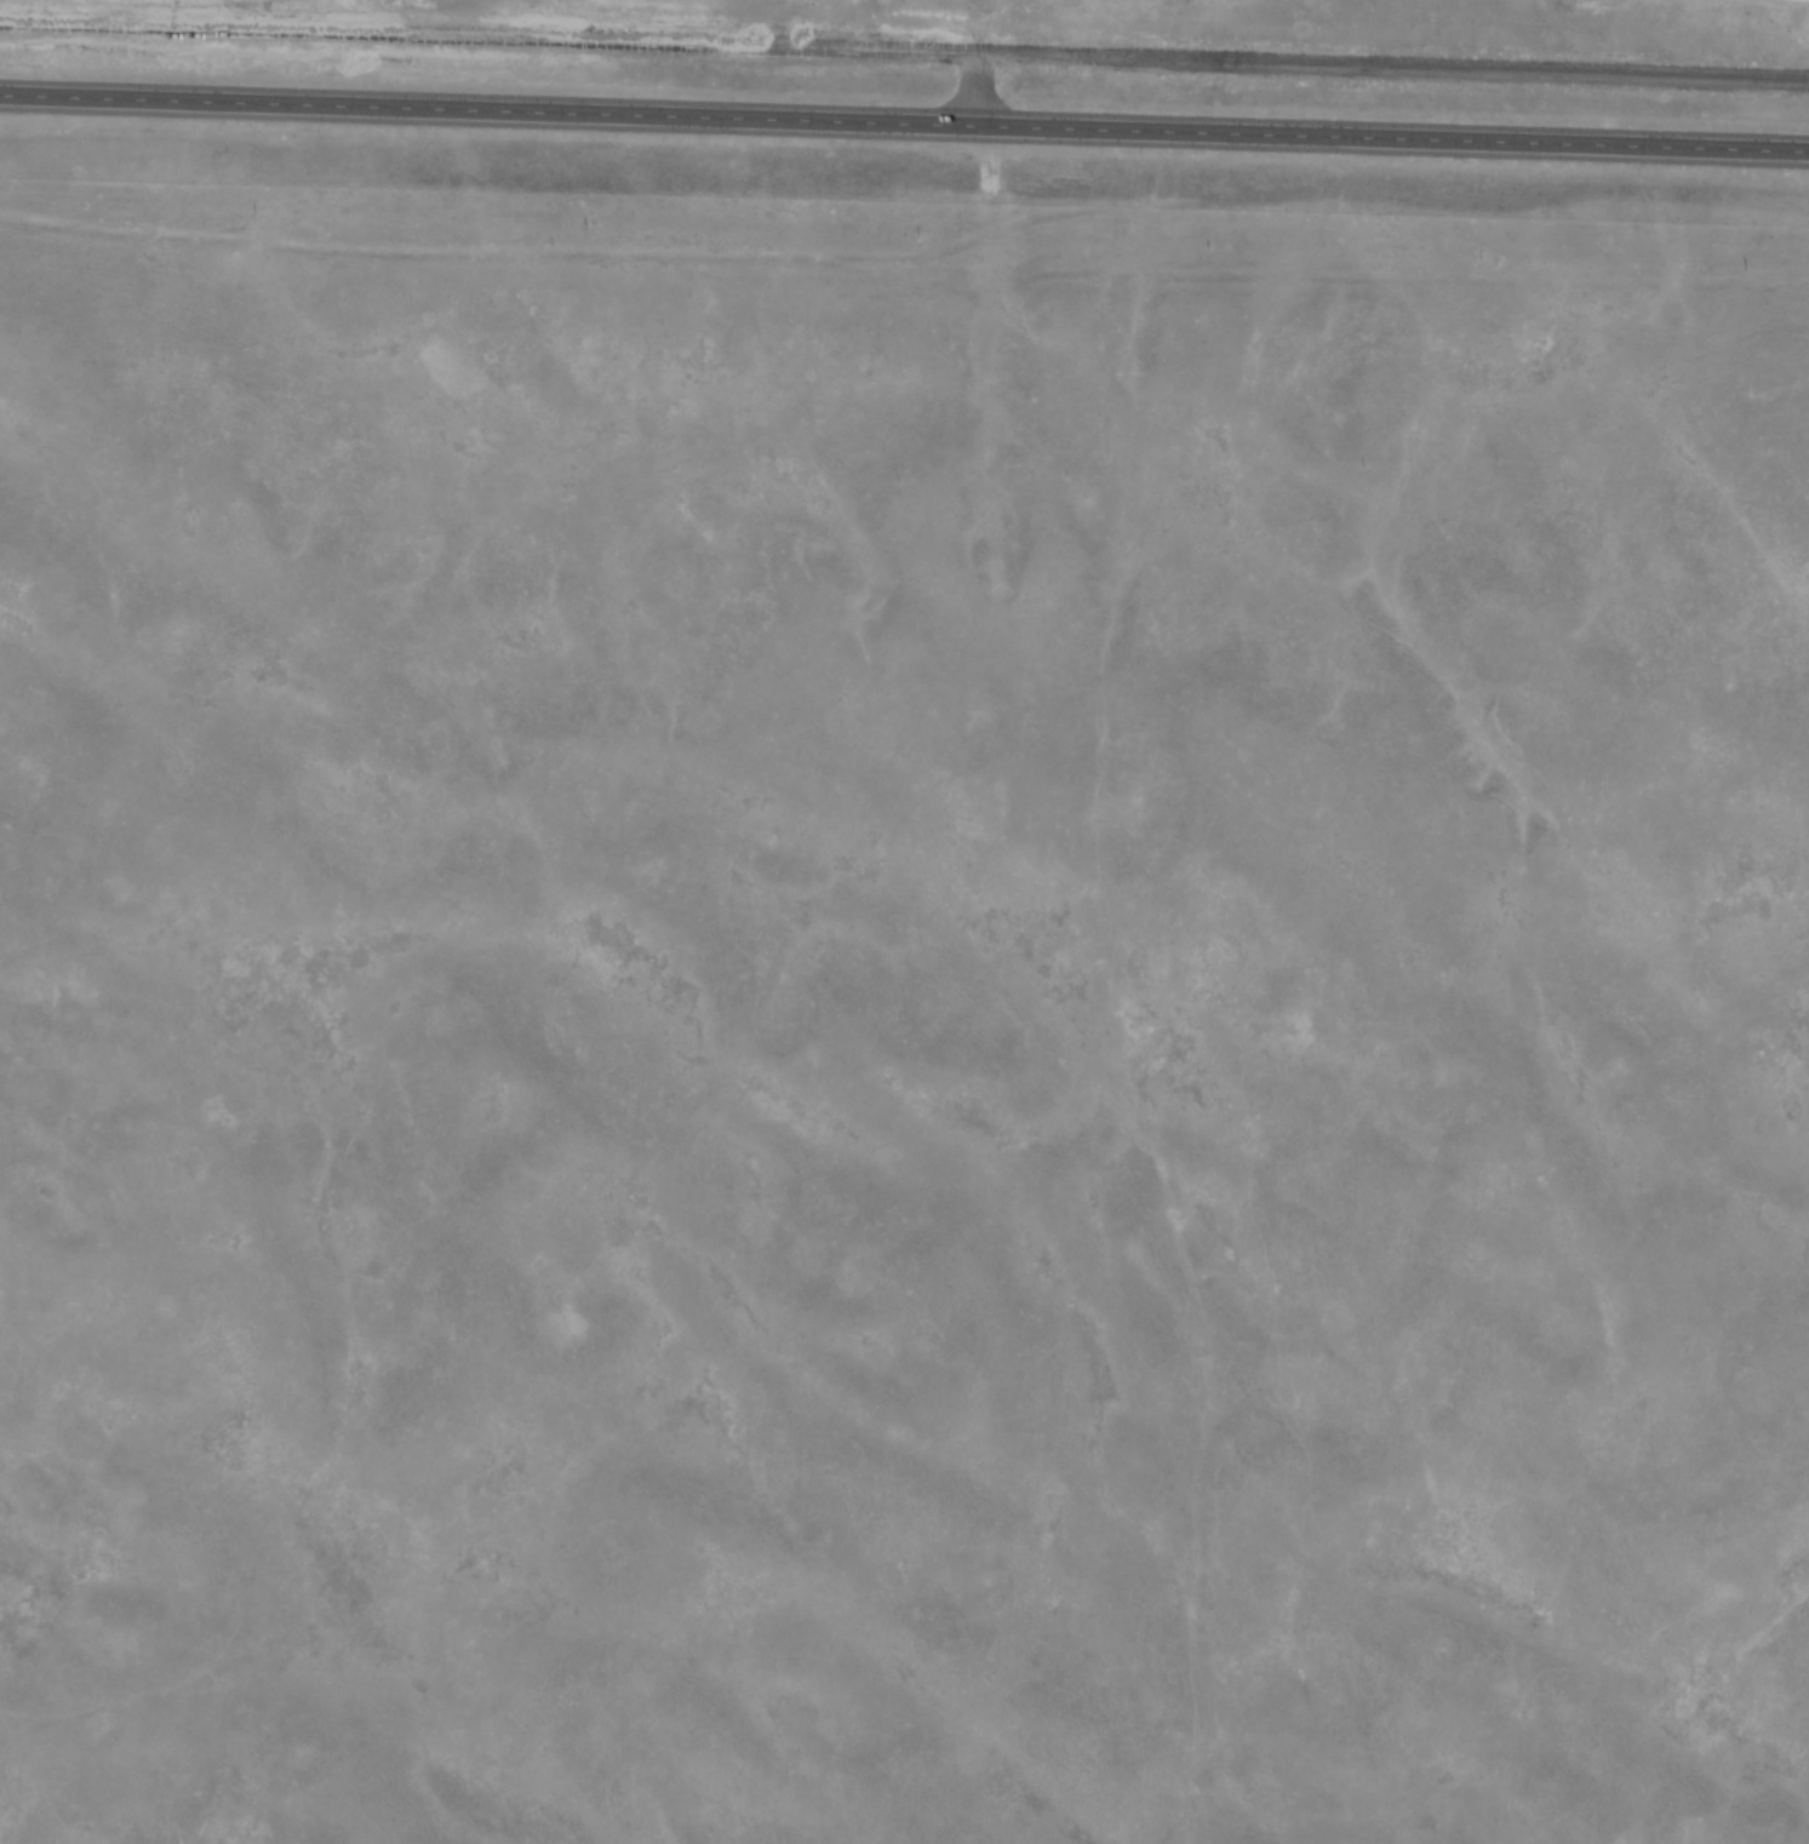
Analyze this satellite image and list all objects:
road: (904, 51)
road: (904, 119)

